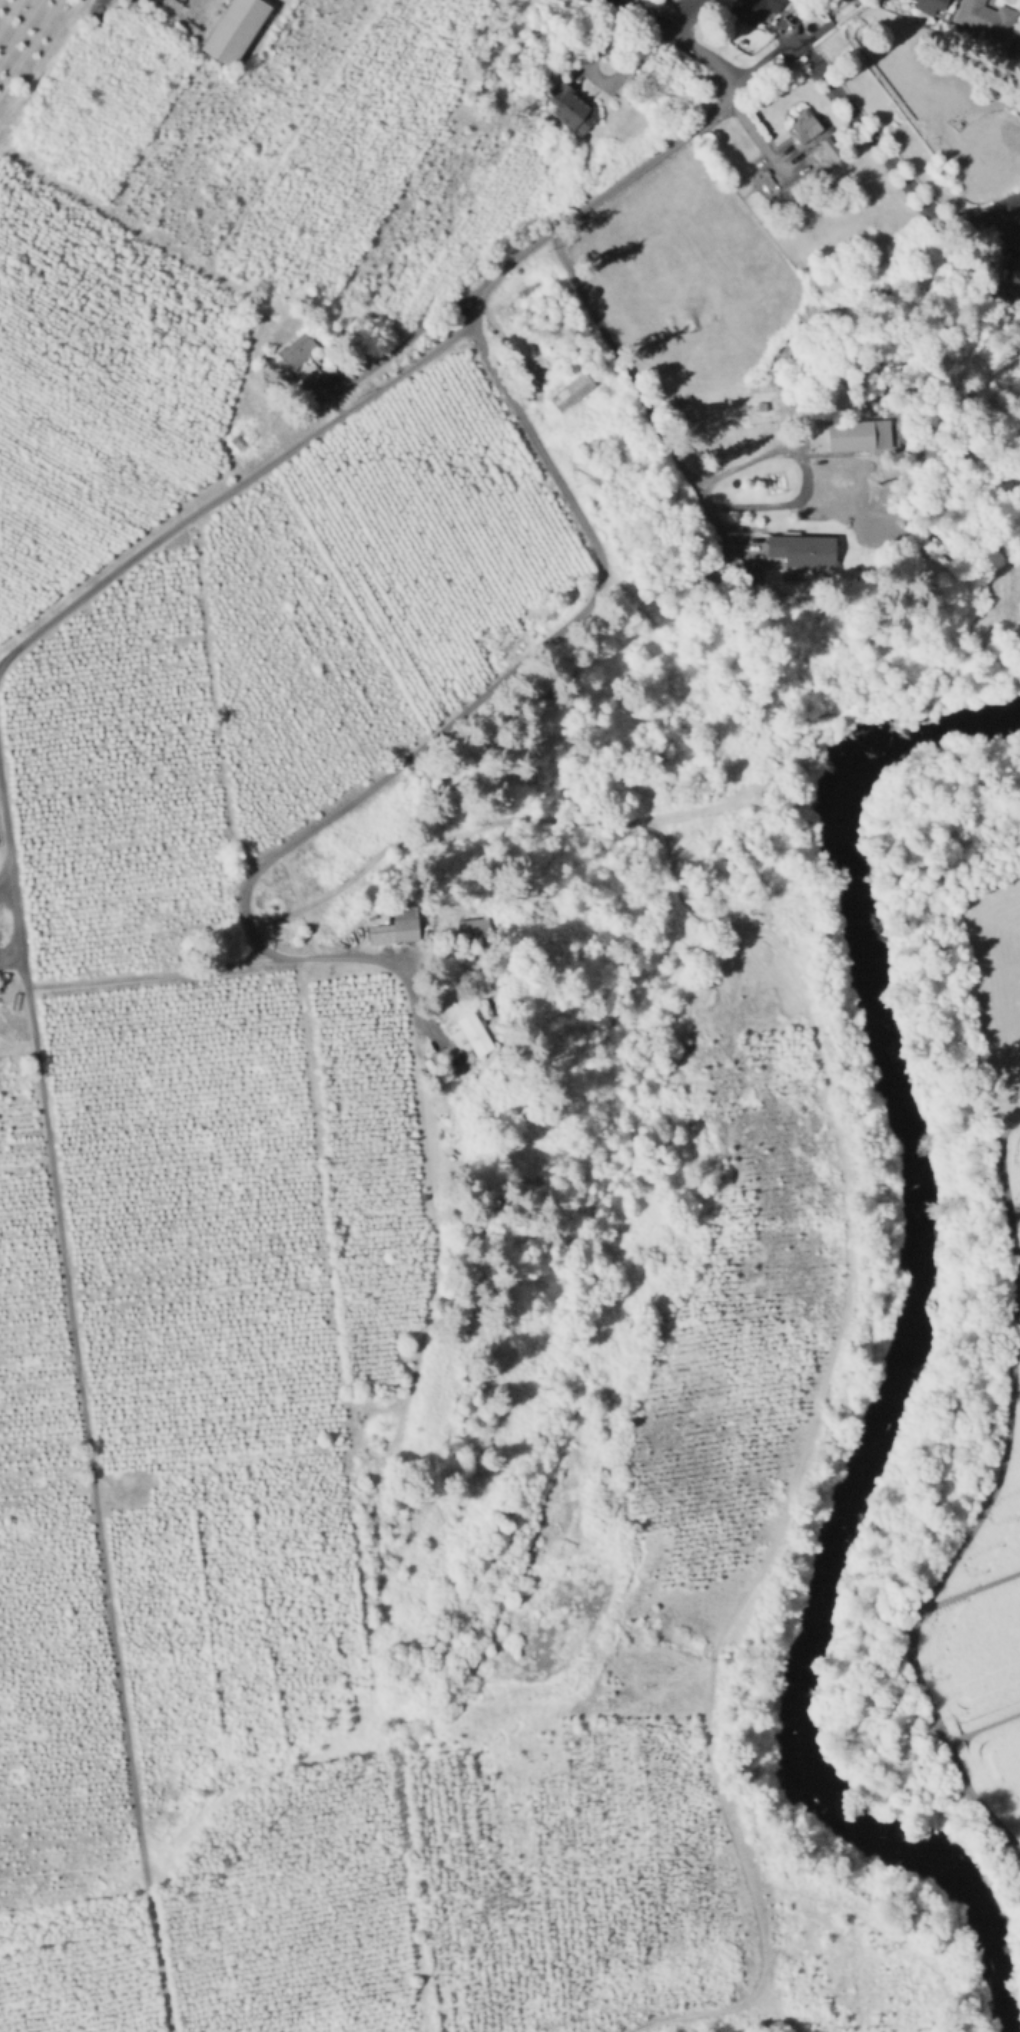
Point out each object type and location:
building: (956, 0)
building: (930, 5)
building: (826, 6)
building: (754, 9)
building: (799, 9)
road: (639, 17)
road: (680, 17)
building: (986, 18)
building: (735, 21)
building: (232, 31)
road: (701, 52)
road: (763, 62)
road: (47, 71)
crop: (100, 104)
building: (572, 108)
building: (805, 125)
building: (830, 147)
road: (763, 148)
crop: (341, 154)
crop: (195, 162)
road: (892, 165)
road: (596, 197)
building: (1016, 269)
crop: (119, 305)
building: (298, 350)
building: (568, 390)
road: (639, 391)
building: (855, 434)
building: (240, 441)
crop: (93, 451)
road: (814, 475)
road: (232, 487)
building: (802, 550)
crop: (39, 563)
building: (751, 582)
road: (463, 711)
road: (6, 832)
road: (14, 911)
building: (471, 930)
building: (404, 932)
building: (376, 937)
road: (150, 969)
crop: (999, 995)
road: (411, 1002)
building: (461, 1041)
road: (847, 1241)
river: (906, 1359)
road: (91, 1487)
crop: (988, 1654)

